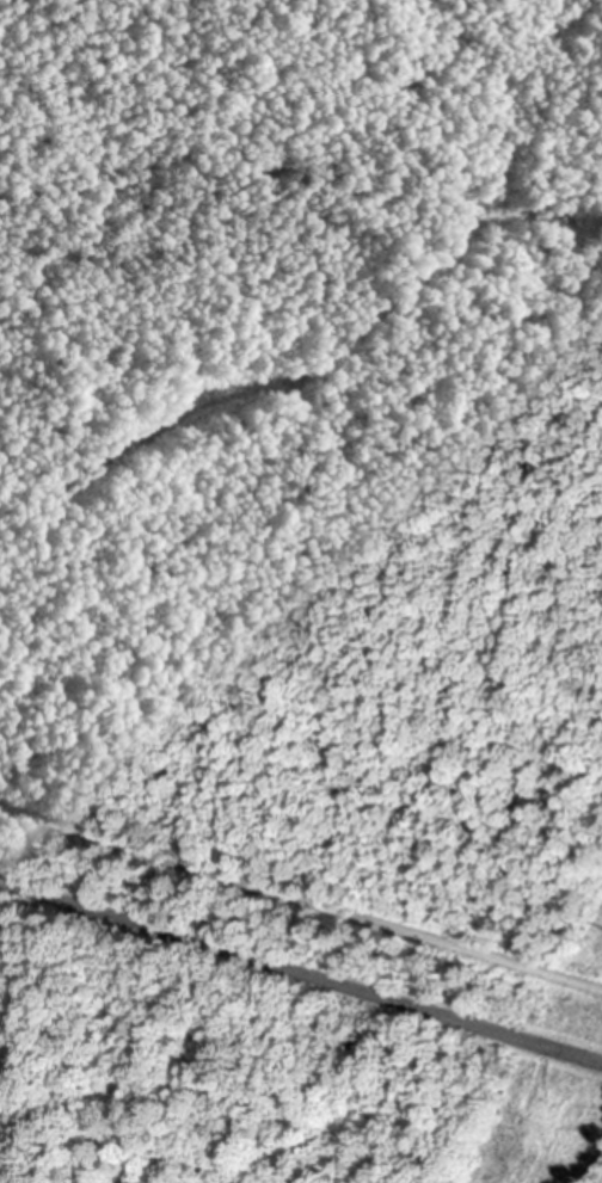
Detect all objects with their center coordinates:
road: (301, 899)
road: (301, 971)

